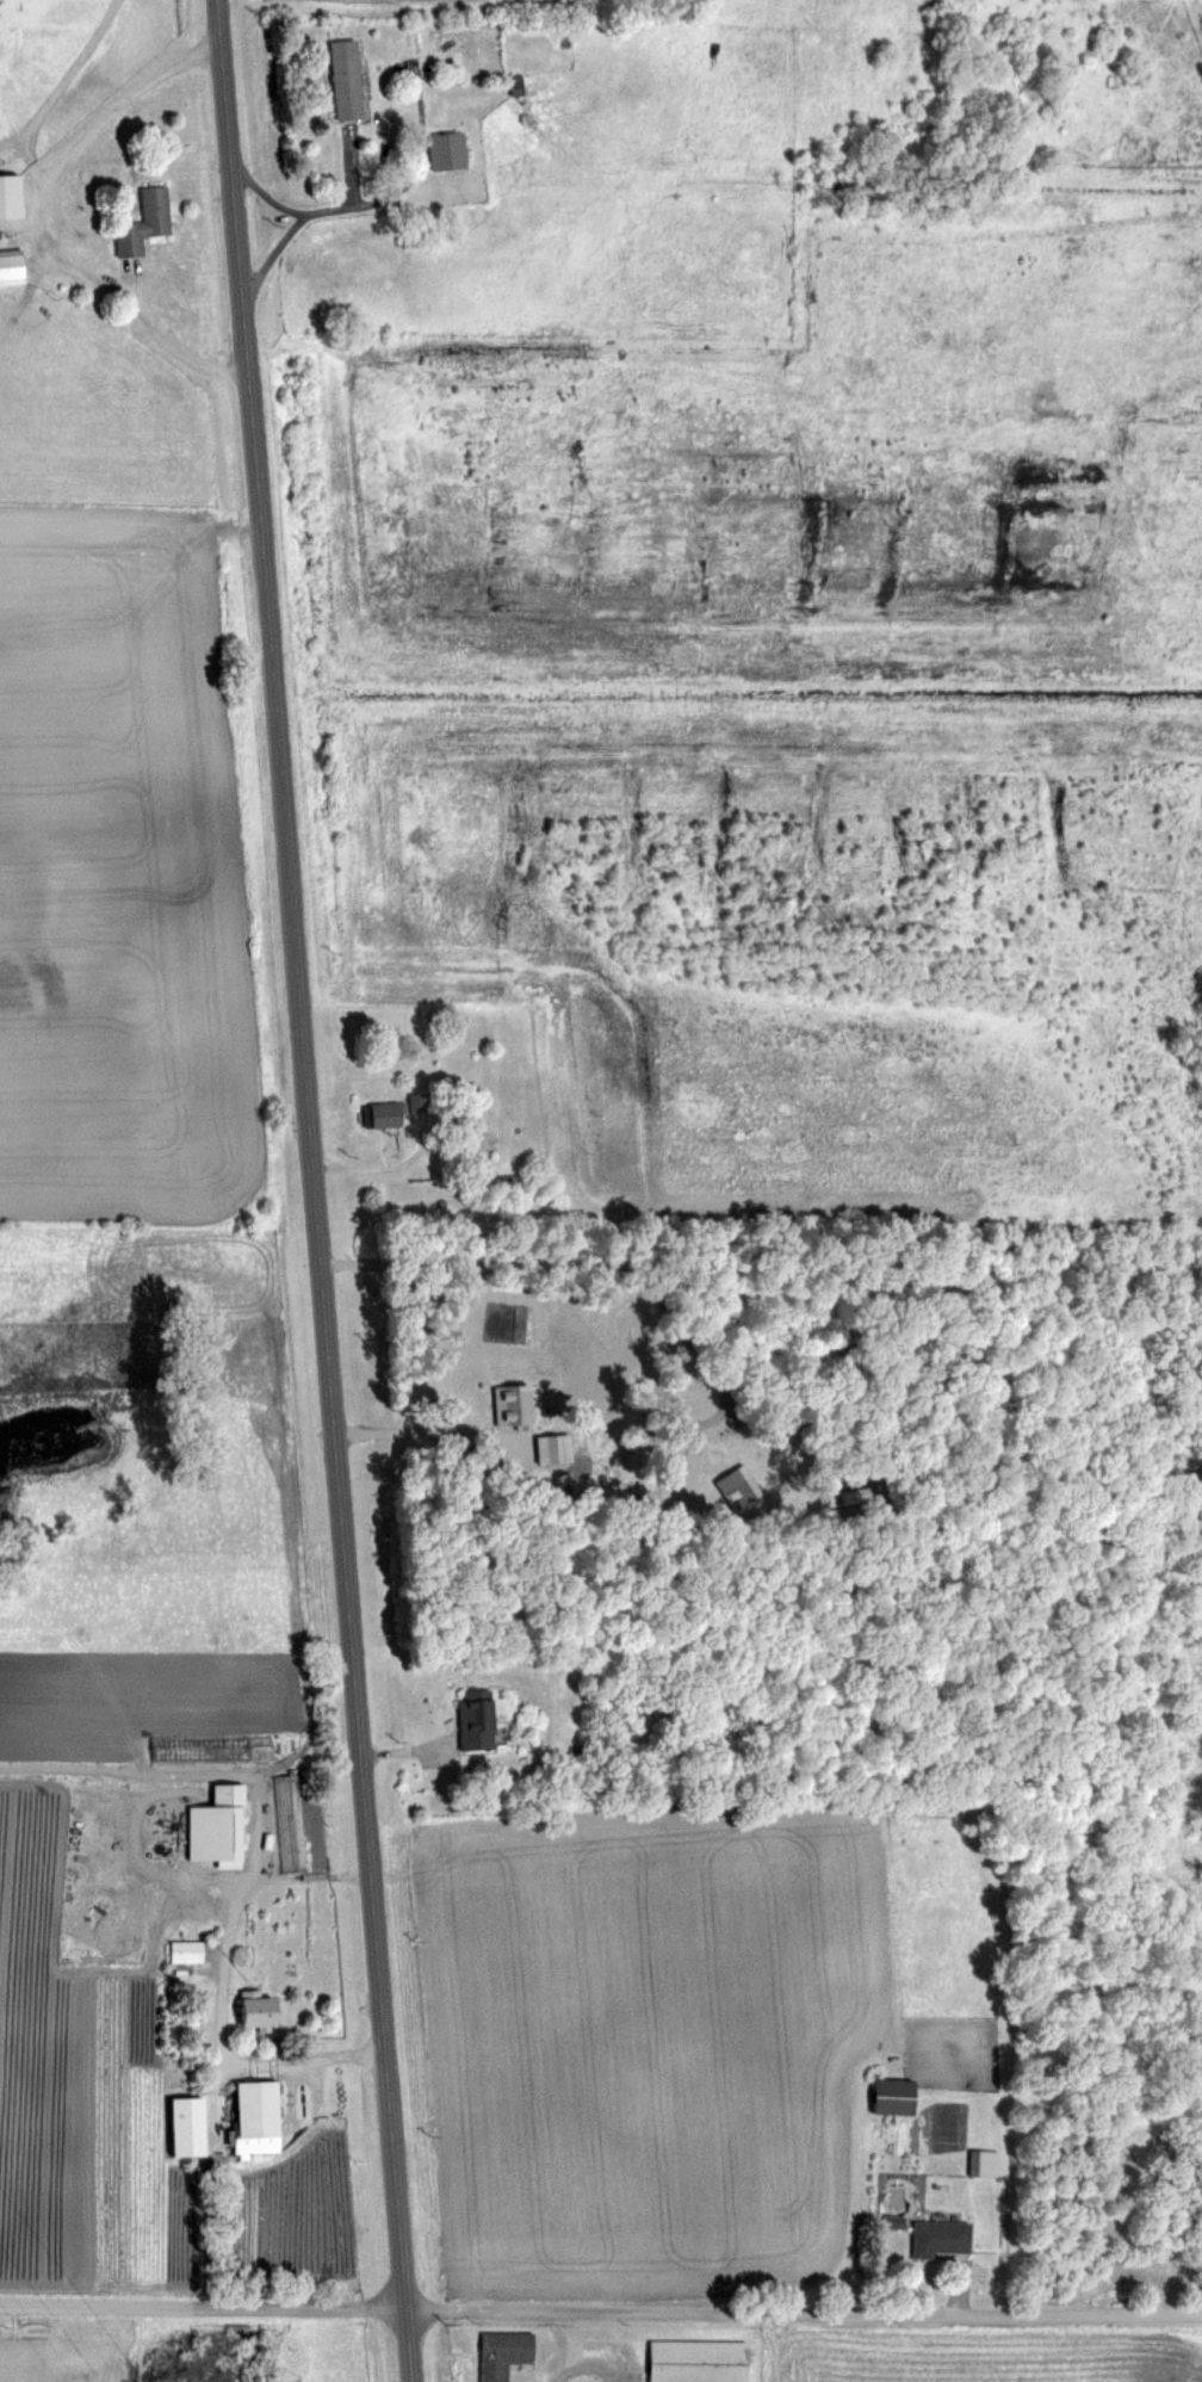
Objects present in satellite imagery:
building: (349, 80)
building: (516, 86)
road: (58, 94)
building: (447, 150)
road: (421, 157)
building: (11, 197)
road: (317, 211)
road: (36, 223)
building: (143, 223)
road: (18, 224)
road: (273, 255)
building: (12, 267)
building: (399, 1109)
road: (383, 1167)
road: (315, 1190)
road: (639, 1282)
building: (510, 1403)
road: (419, 1434)
building: (553, 1448)
building: (737, 1491)
building: (476, 1719)
building: (261, 1749)
road: (398, 1751)
building: (290, 1824)
building: (219, 1827)
building: (182, 1950)
road: (225, 1993)
building: (264, 2015)
building: (893, 2096)
building: (258, 2110)
building: (985, 2163)
building: (894, 2221)
building: (940, 2238)
road: (960, 2289)
road: (600, 2314)
road: (11, 2344)
building: (504, 2353)
building: (698, 2361)
building: (602, 2365)

